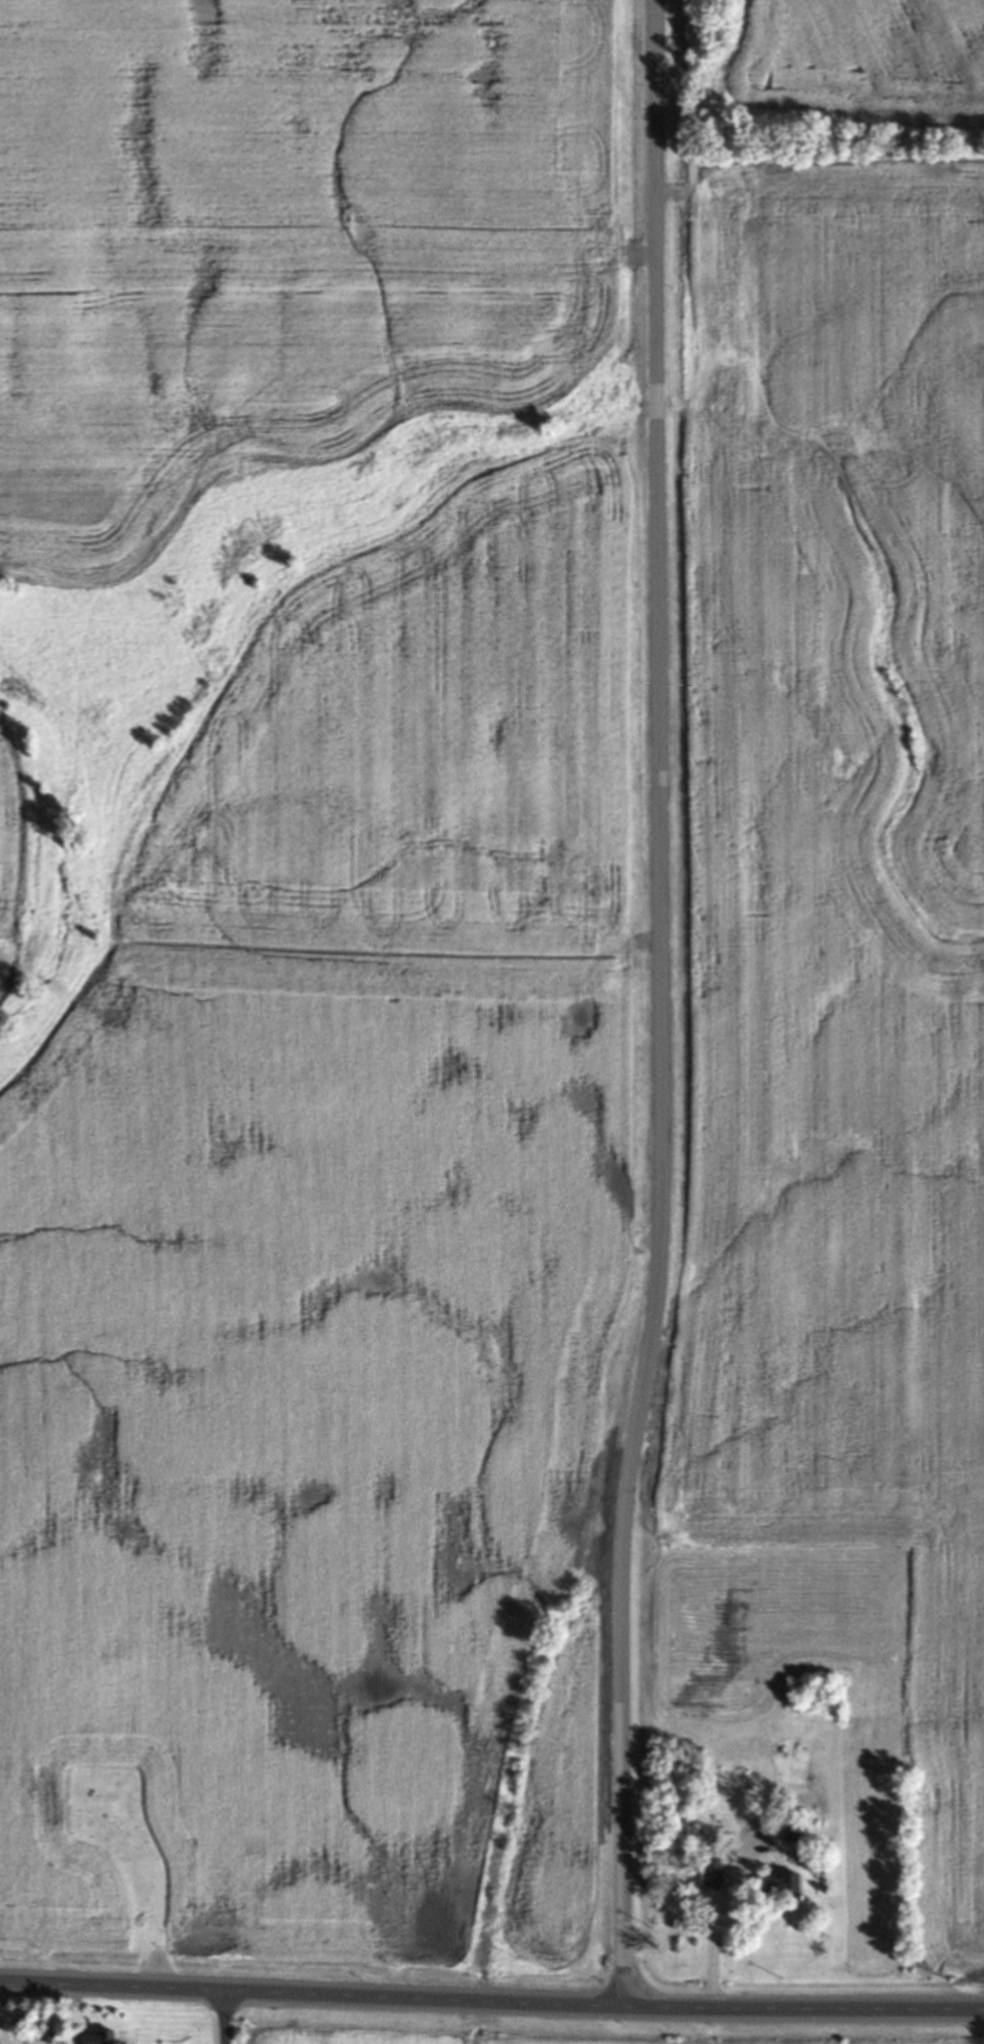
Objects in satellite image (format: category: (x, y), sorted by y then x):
road: (663, 1003)
building: (795, 1833)
building: (784, 1885)
road: (721, 1916)
road: (491, 1999)
road: (232, 2017)
building: (101, 2037)

